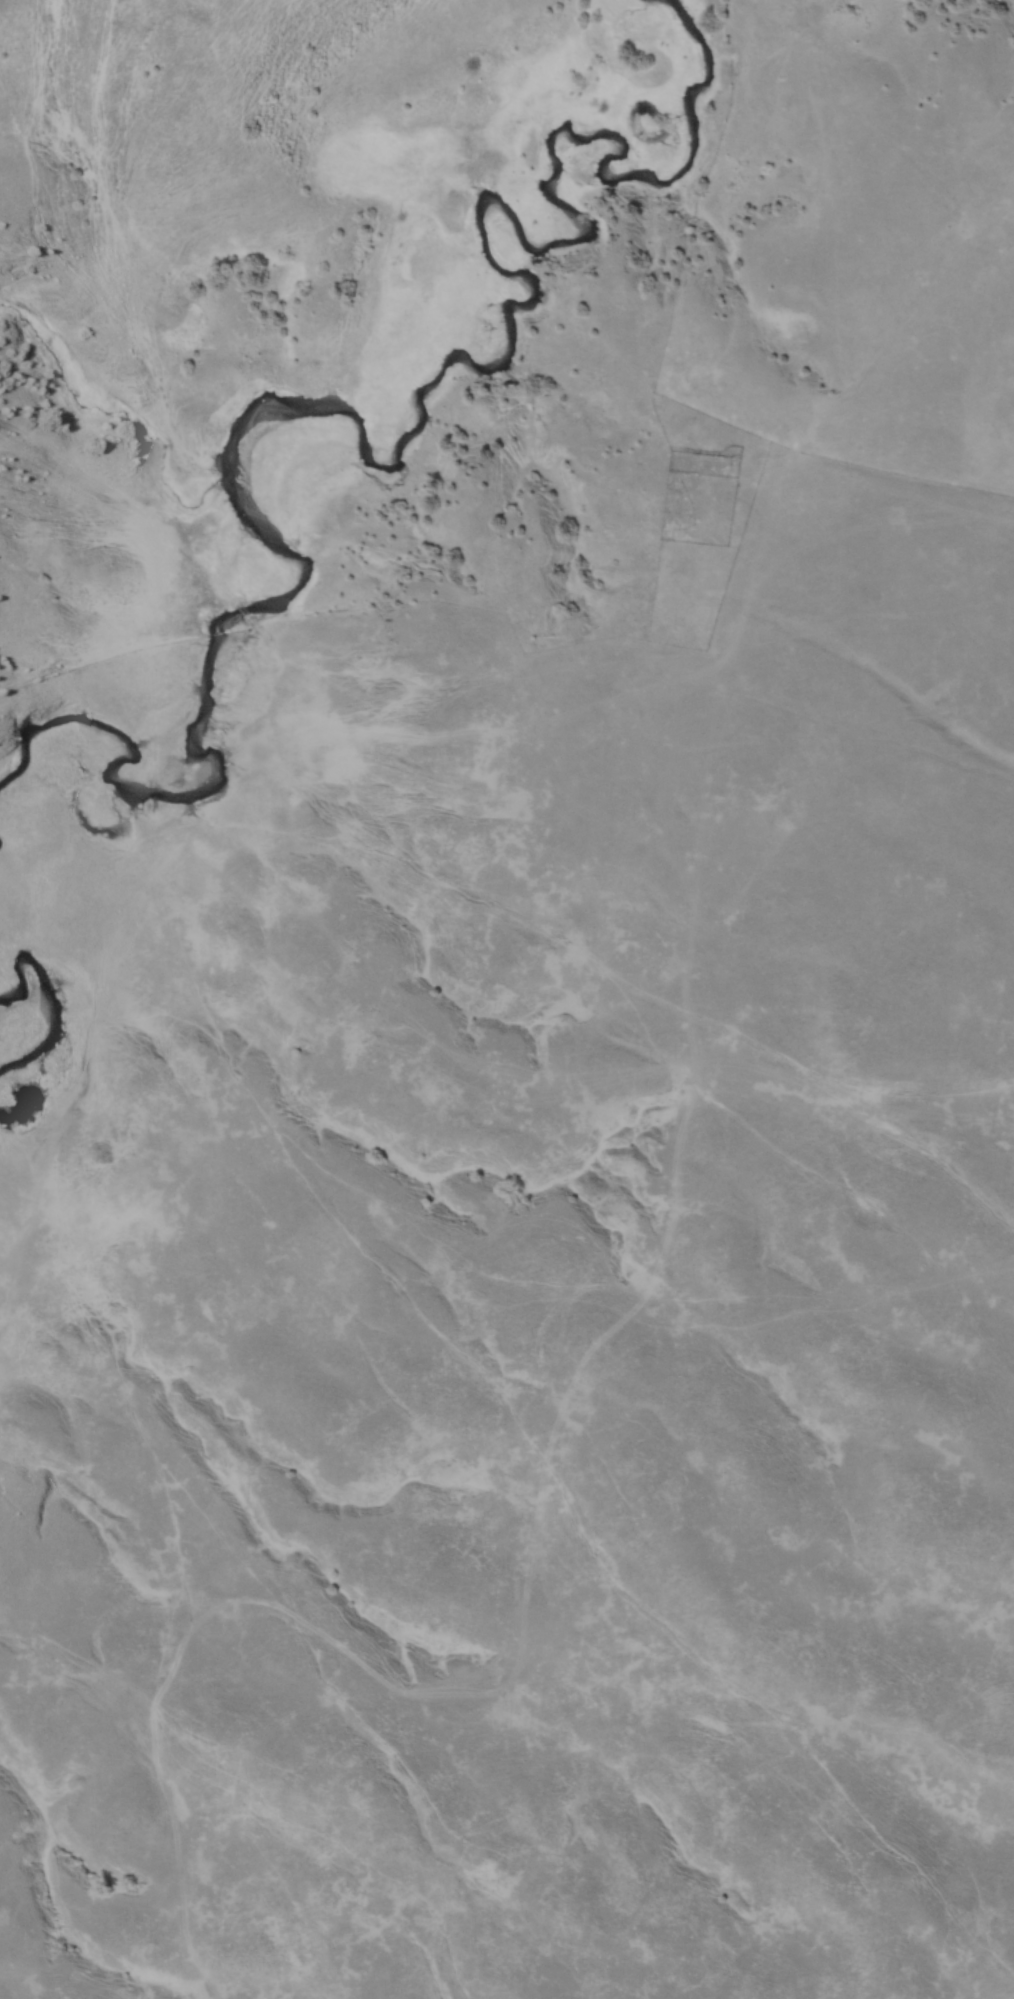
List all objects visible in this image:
park: (1009, 39)
river: (396, 443)
river: (27, 1052)

